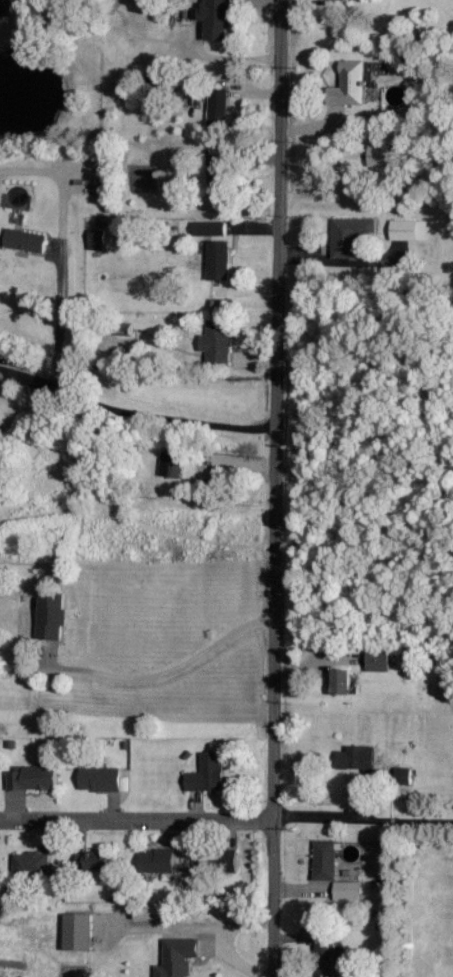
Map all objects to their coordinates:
building: (351, 0)
building: (217, 18)
building: (157, 83)
building: (350, 84)
building: (219, 105)
building: (380, 155)
building: (220, 176)
building: (211, 228)
building: (411, 230)
building: (352, 235)
building: (98, 239)
building: (26, 240)
building: (220, 260)
building: (228, 305)
building: (120, 339)
building: (218, 341)
road: (63, 394)
building: (172, 464)
road: (287, 488)
building: (52, 616)
building: (379, 660)
road: (172, 669)
building: (342, 682)
building: (358, 758)
building: (208, 774)
building: (404, 776)
building: (34, 779)
building: (101, 779)
road: (334, 817)
road: (138, 819)
road: (422, 821)
building: (228, 860)
building: (326, 860)
building: (94, 861)
building: (158, 861)
building: (32, 864)
building: (349, 890)
building: (79, 932)
building: (179, 957)

